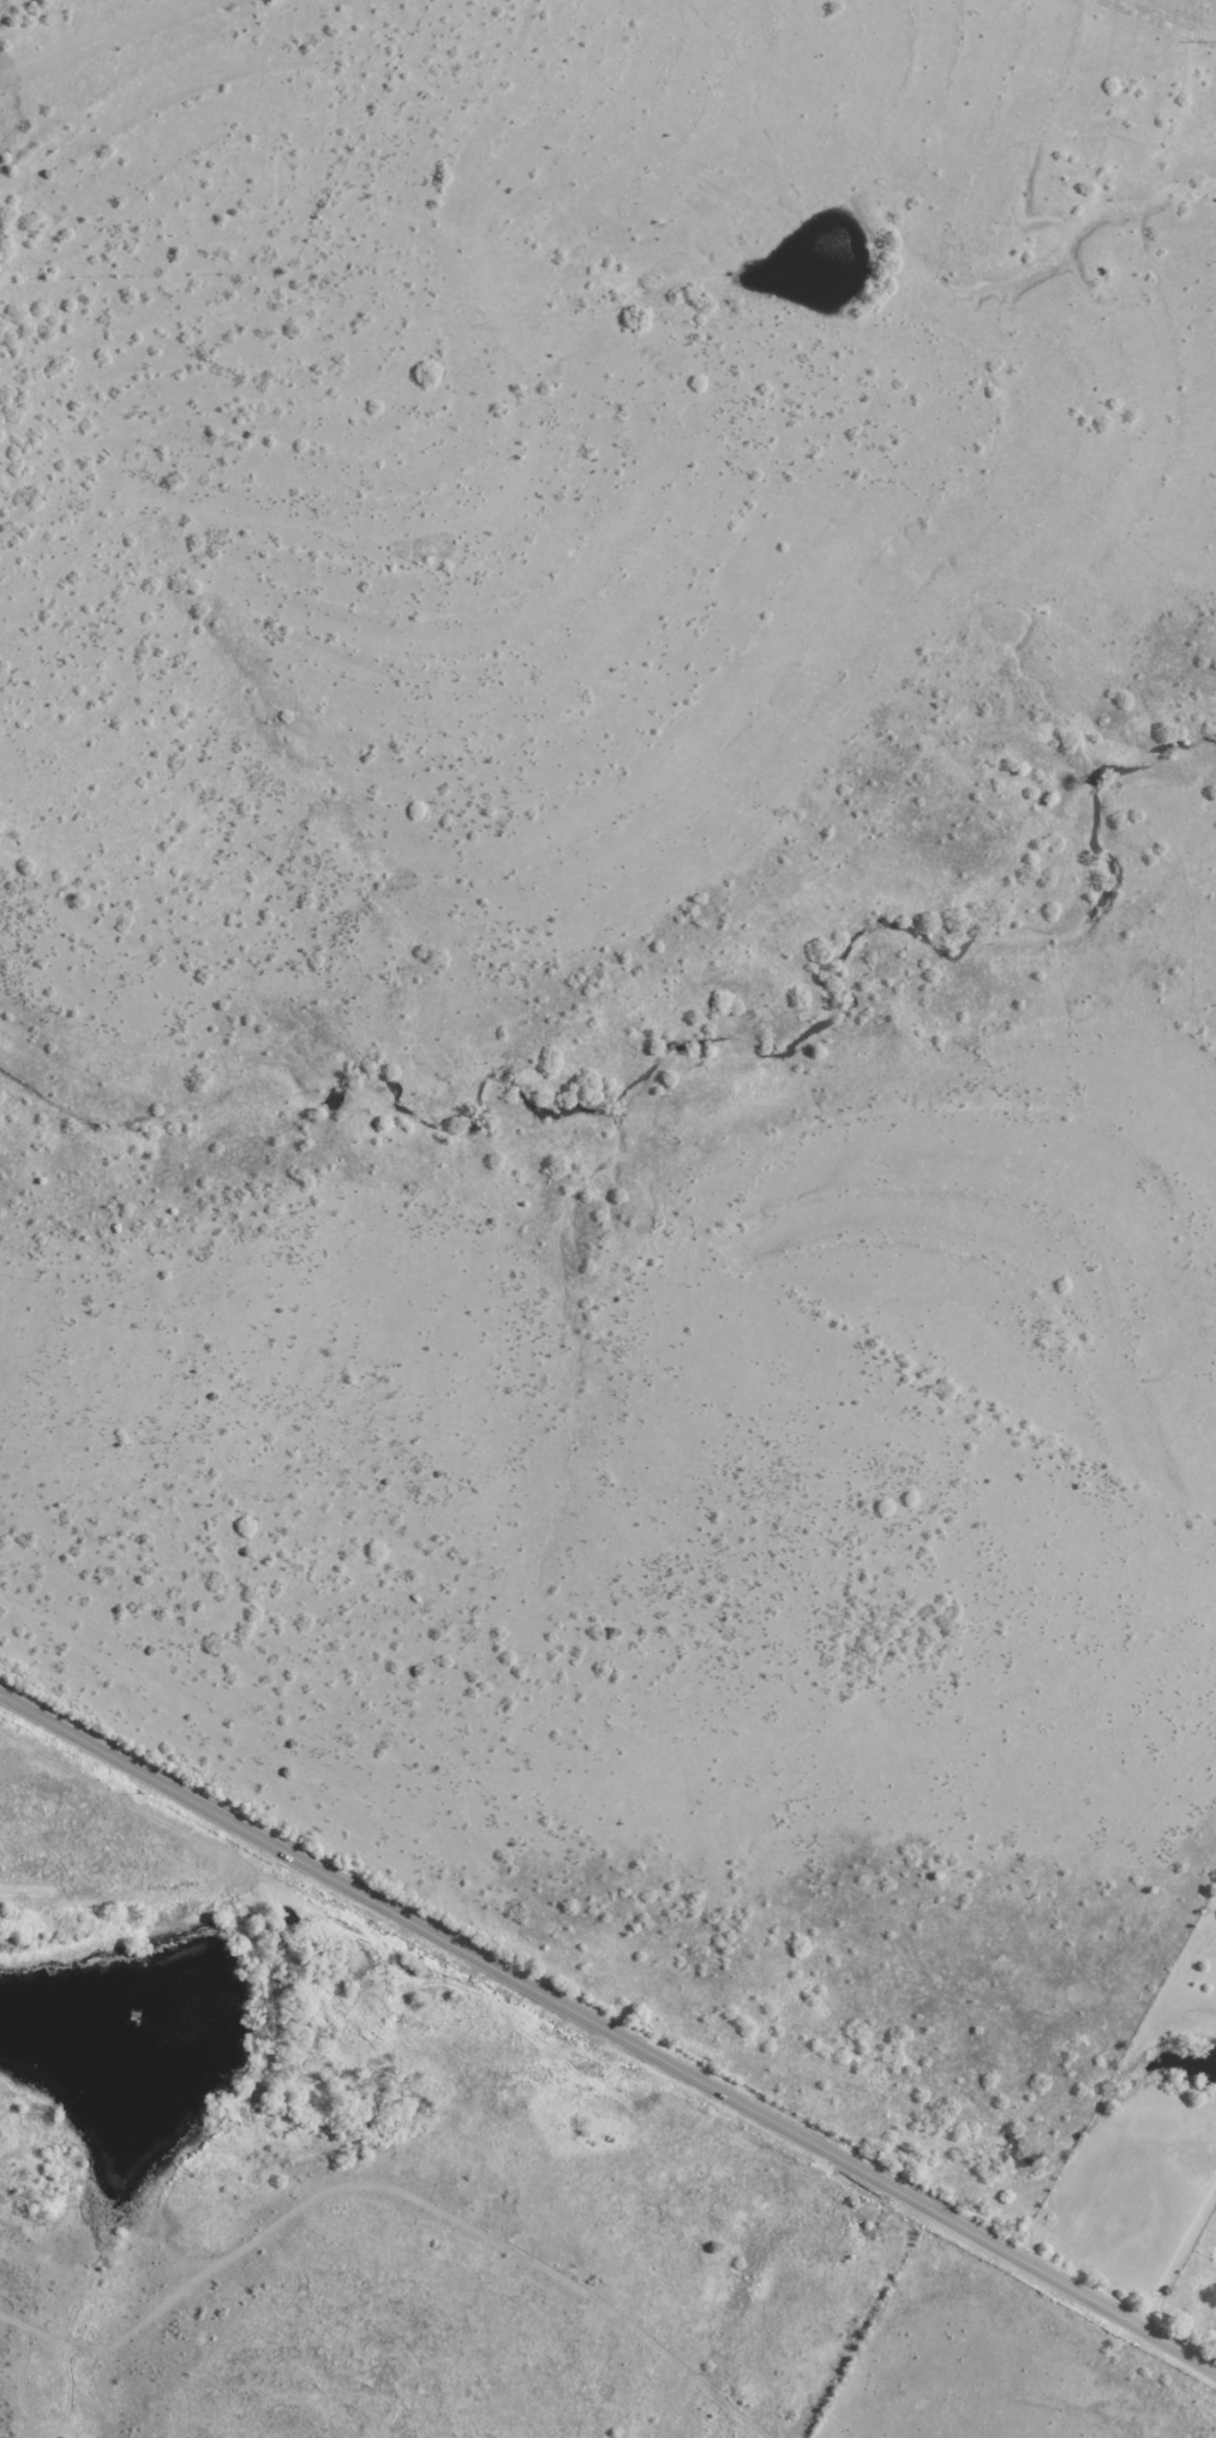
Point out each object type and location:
road: (607, 2036)
road: (1176, 2257)

